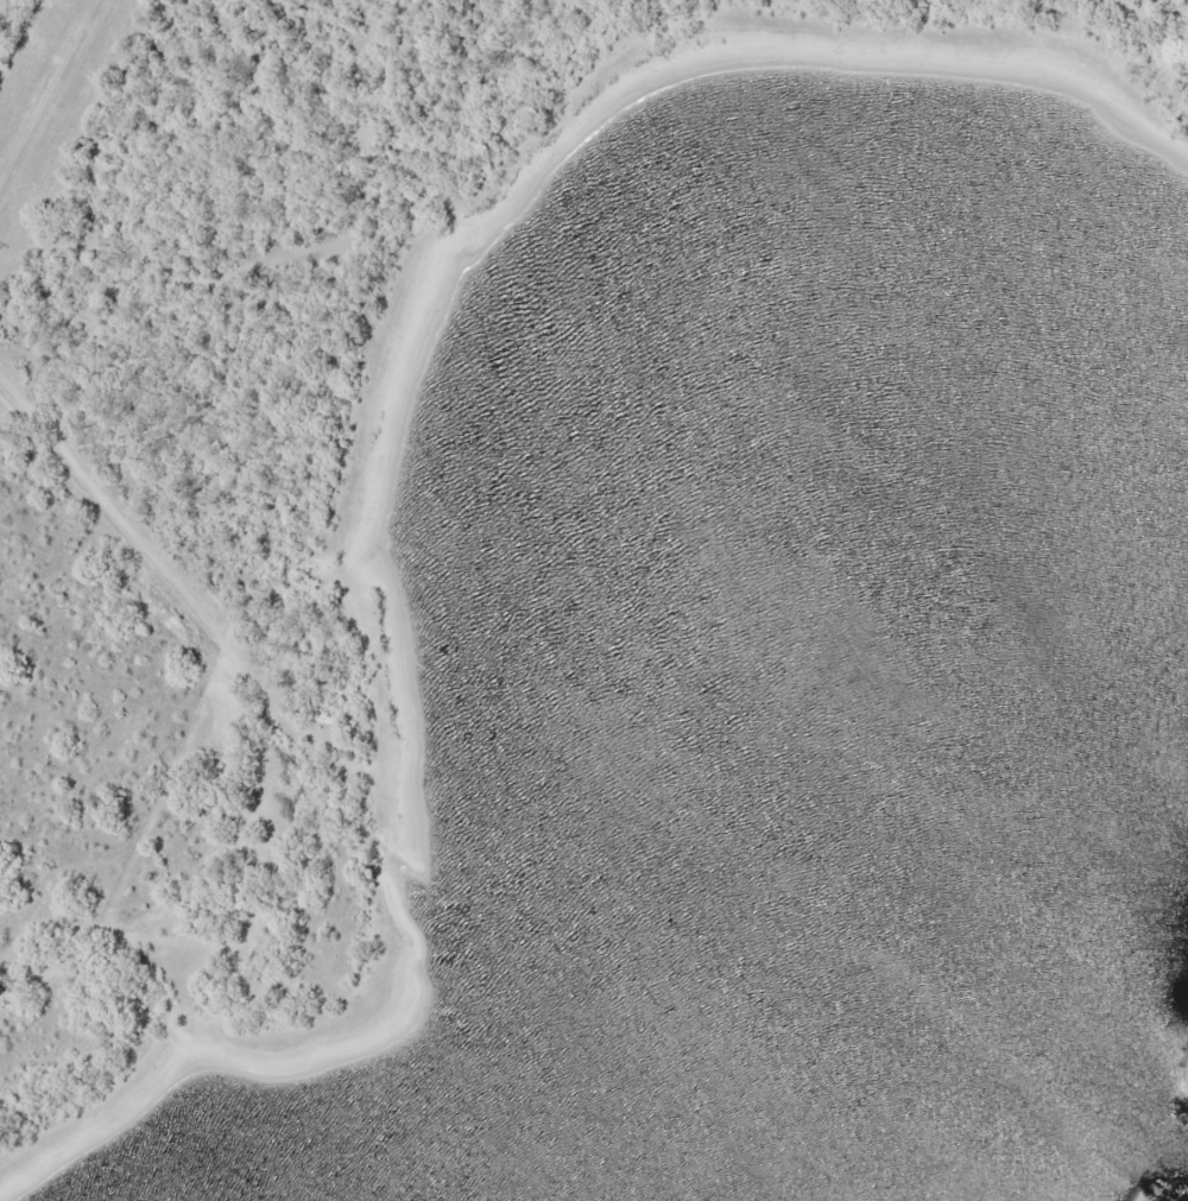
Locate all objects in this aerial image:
road: (44, 84)

